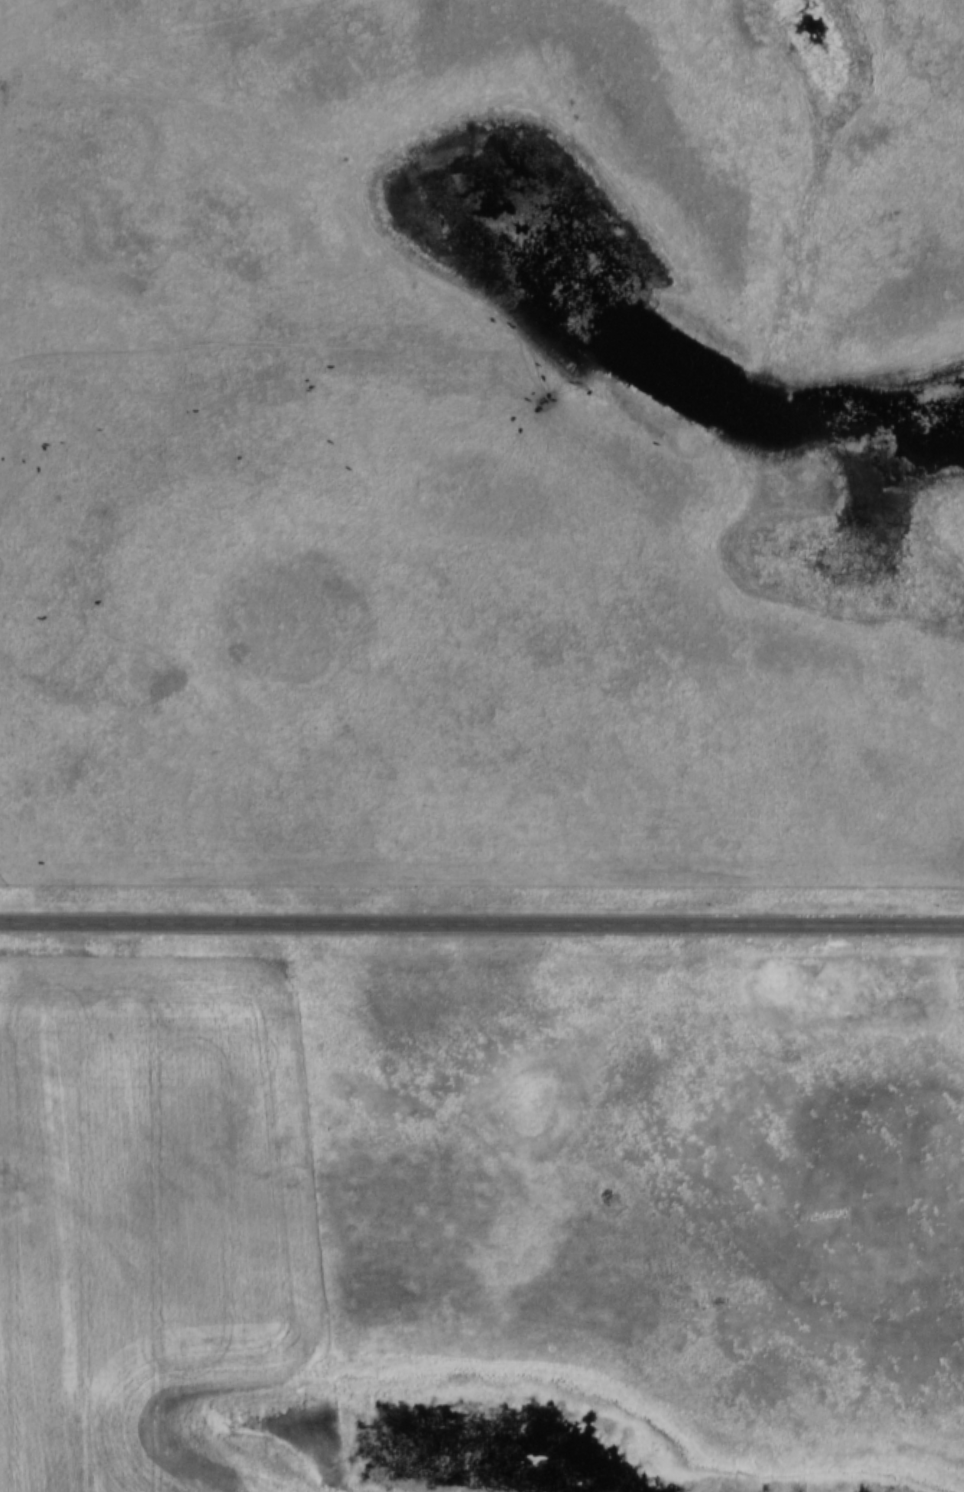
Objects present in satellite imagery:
road: (482, 922)

